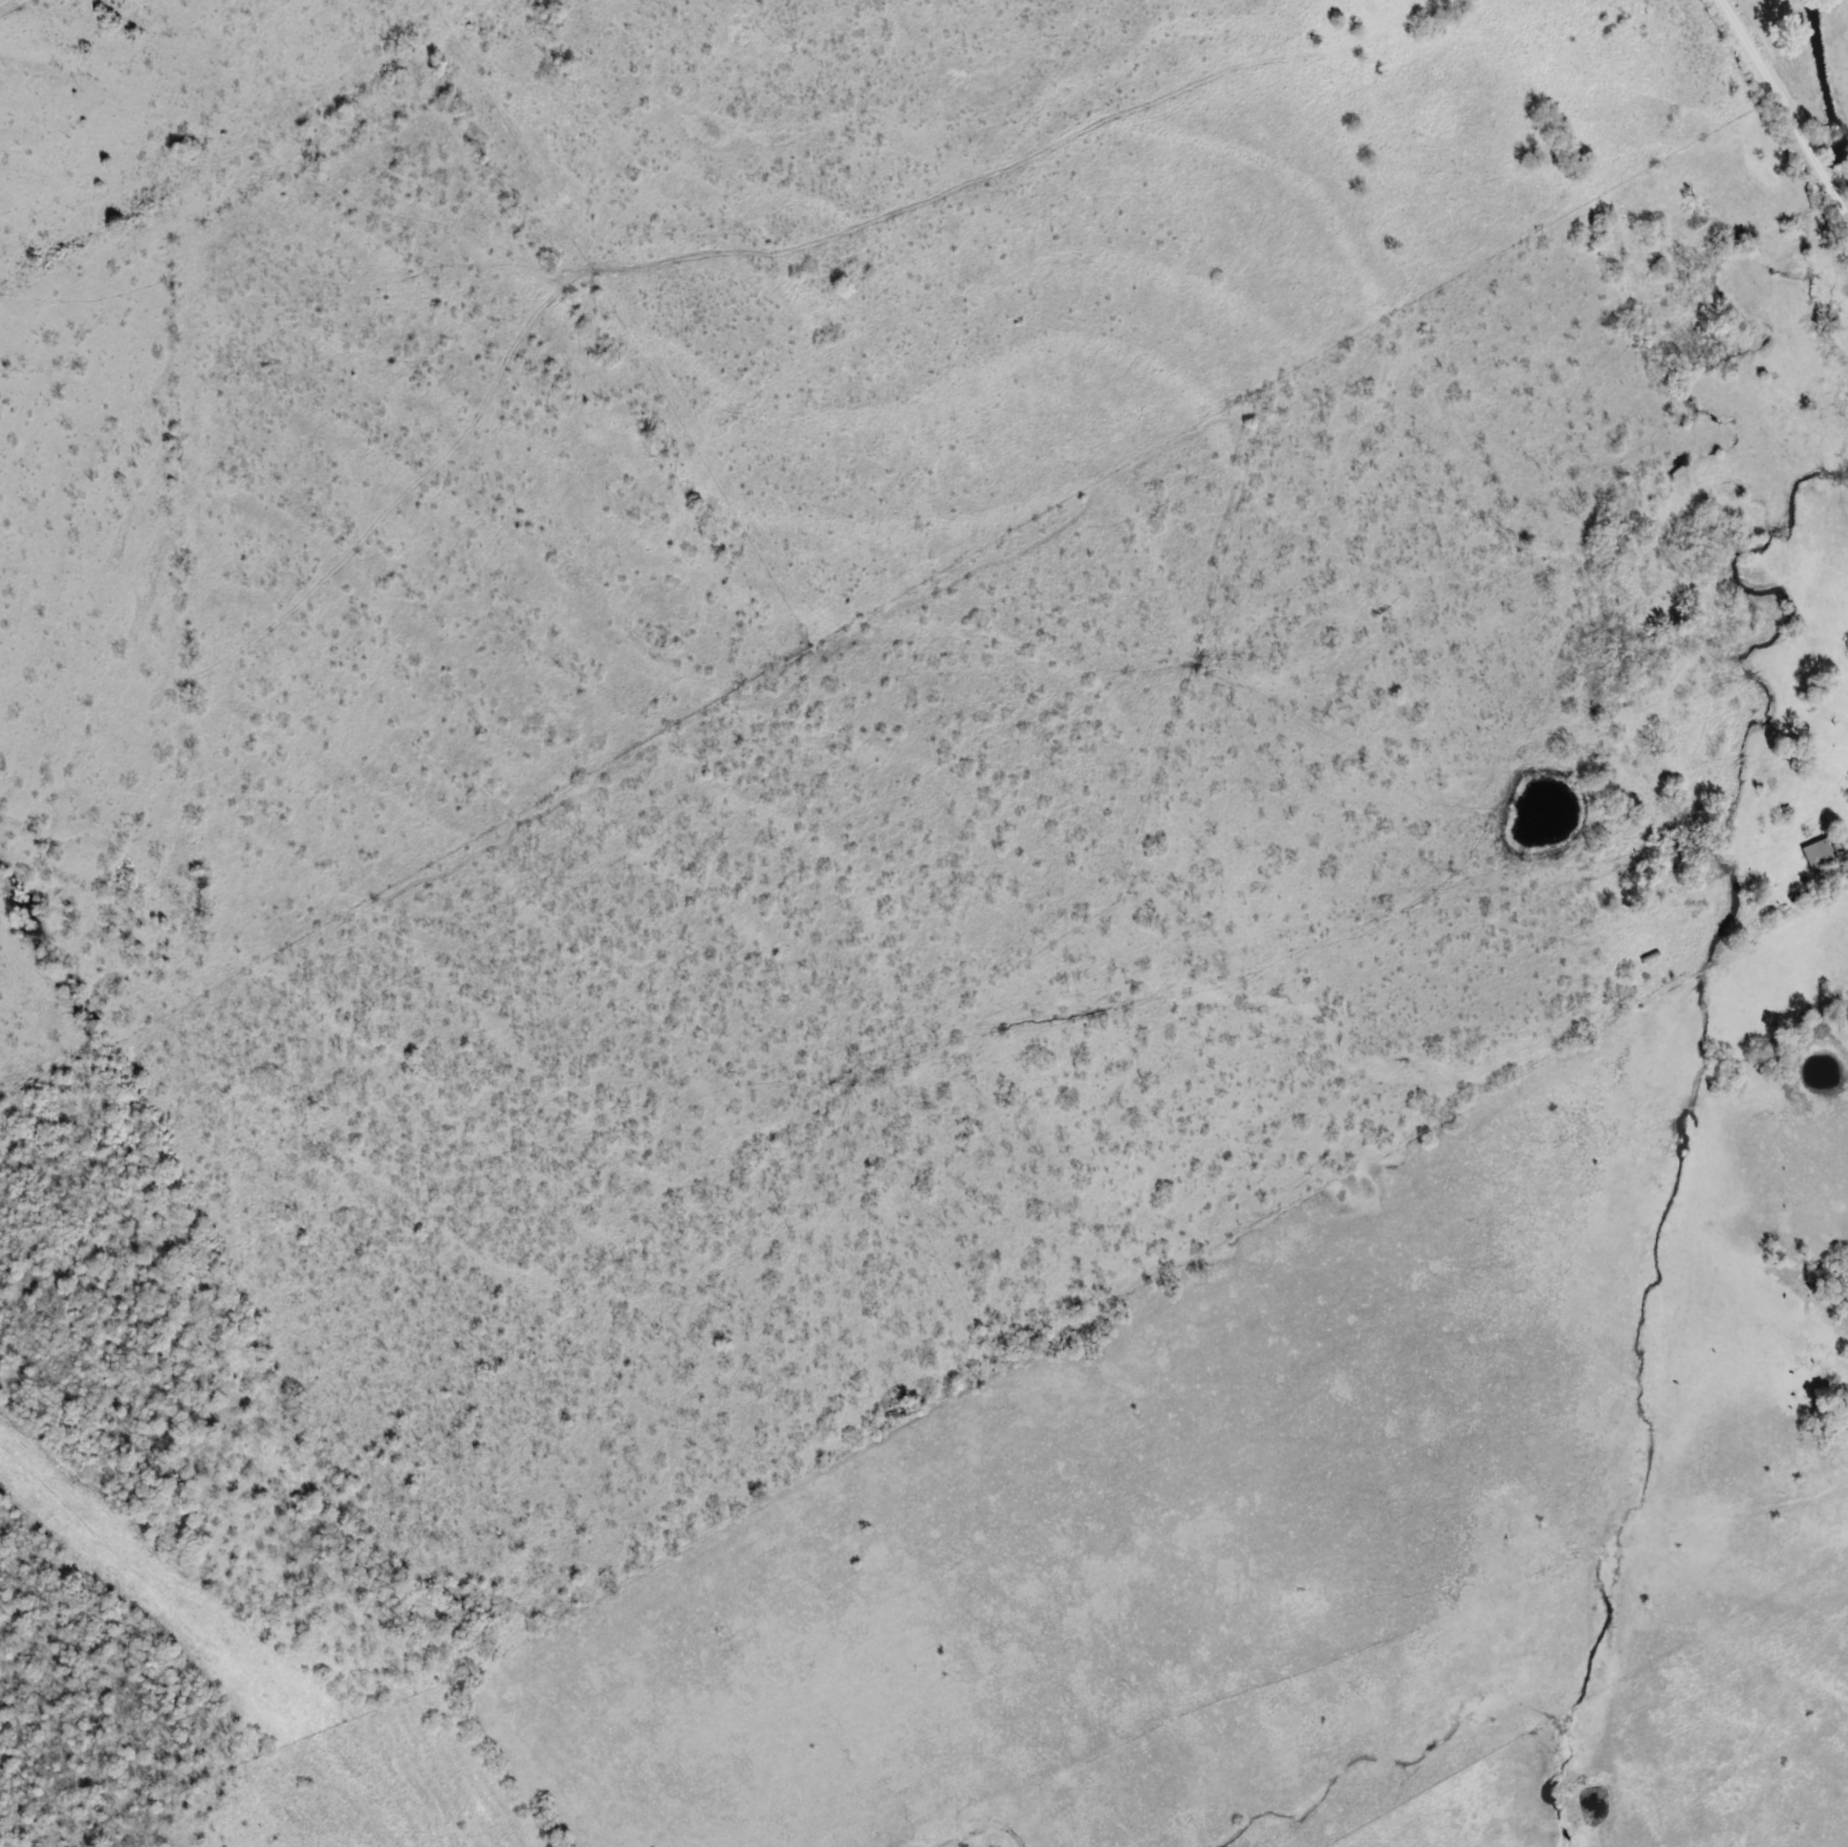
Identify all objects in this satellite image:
road: (1782, 112)
building: (1826, 851)

